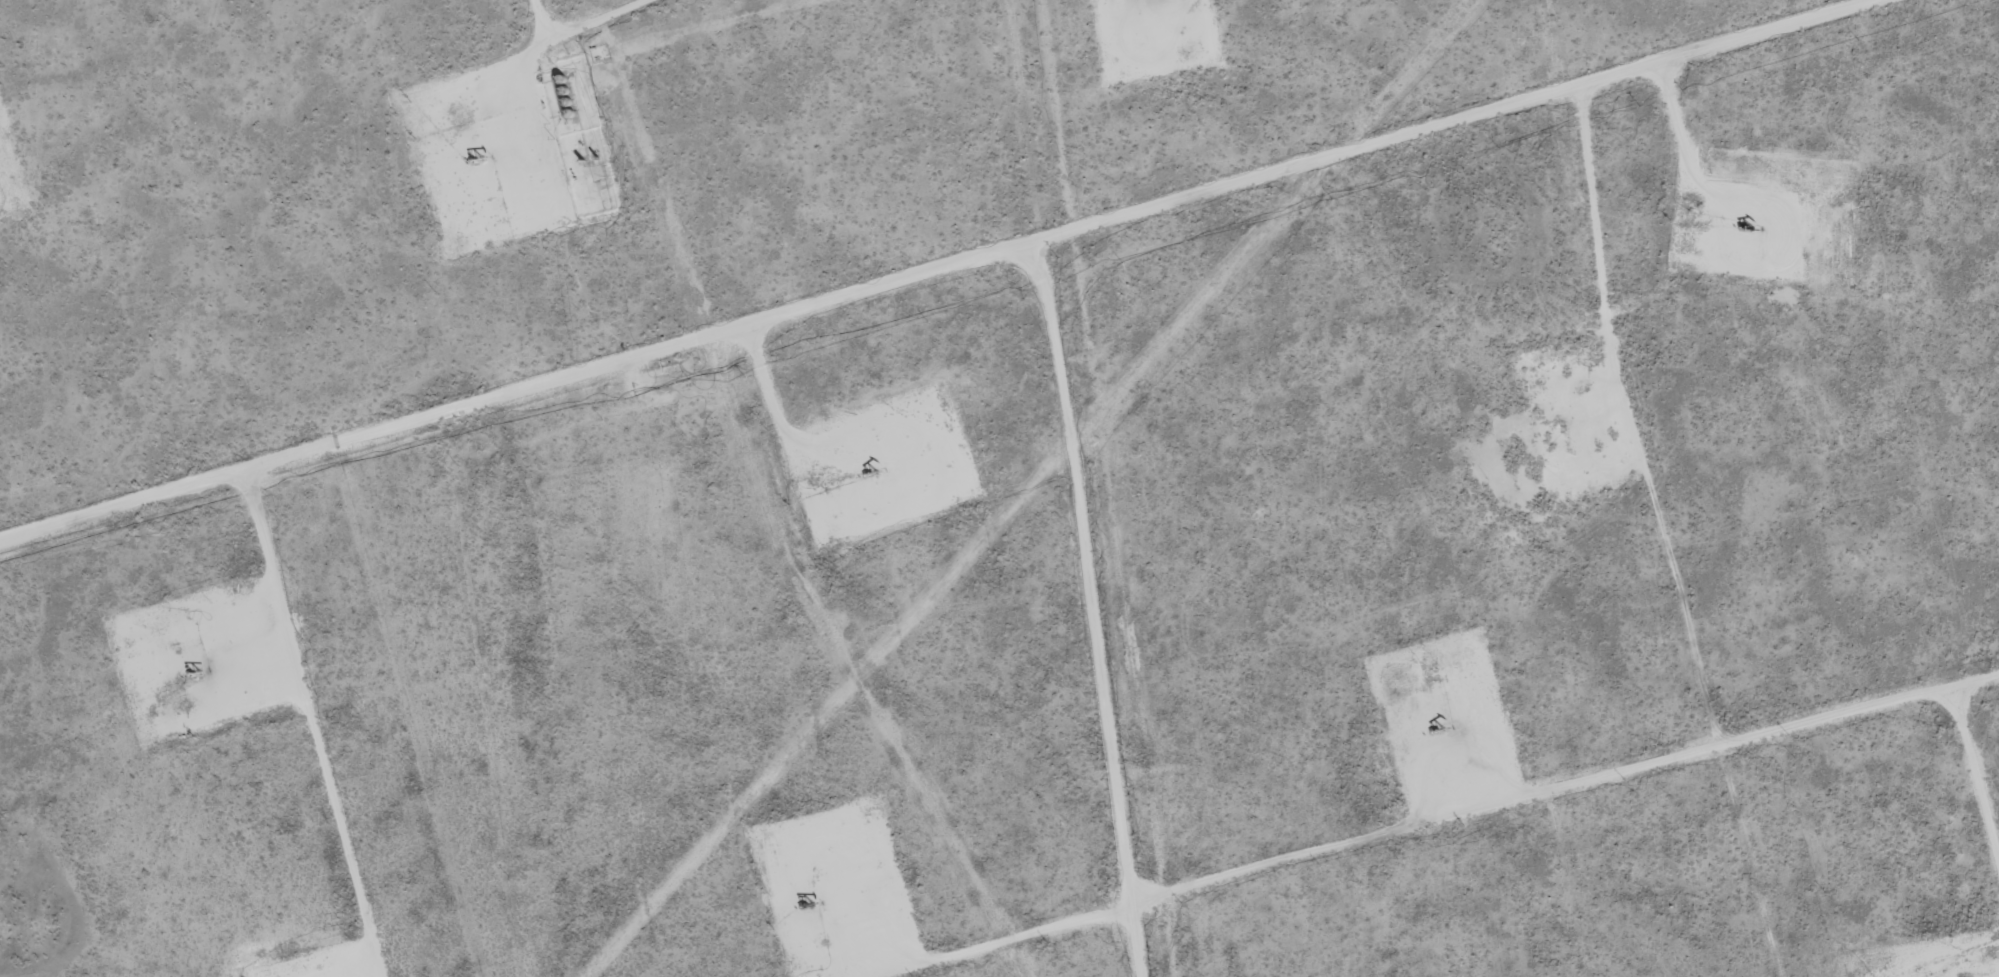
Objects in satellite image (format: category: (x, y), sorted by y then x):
road: (550, 25)
road: (1090, 219)
road: (519, 384)
road: (310, 721)

